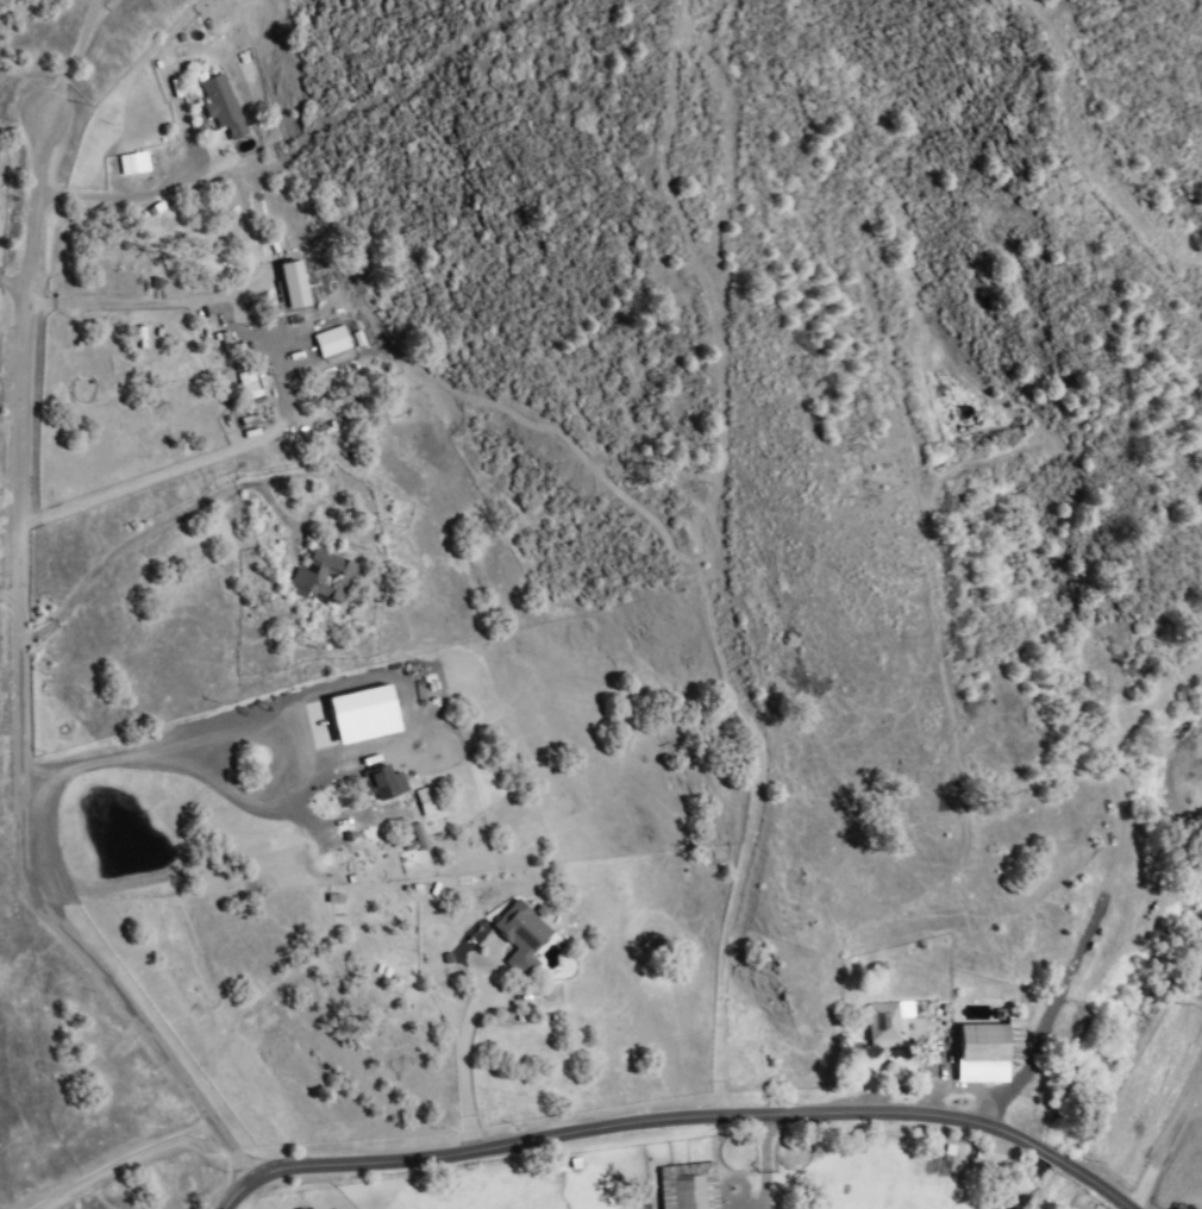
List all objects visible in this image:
road: (71, 51)
building: (224, 107)
building: (130, 163)
road: (123, 199)
building: (294, 287)
road: (13, 293)
road: (125, 307)
building: (327, 343)
building: (250, 386)
road: (146, 532)
building: (327, 577)
road: (11, 597)
road: (21, 647)
building: (356, 715)
road: (253, 727)
building: (386, 783)
building: (428, 803)
building: (417, 837)
building: (524, 936)
building: (890, 1026)
building: (993, 1044)
road: (462, 1072)
road: (677, 1123)
road: (1169, 1145)
road: (119, 1159)
road: (759, 1164)
building: (690, 1188)

